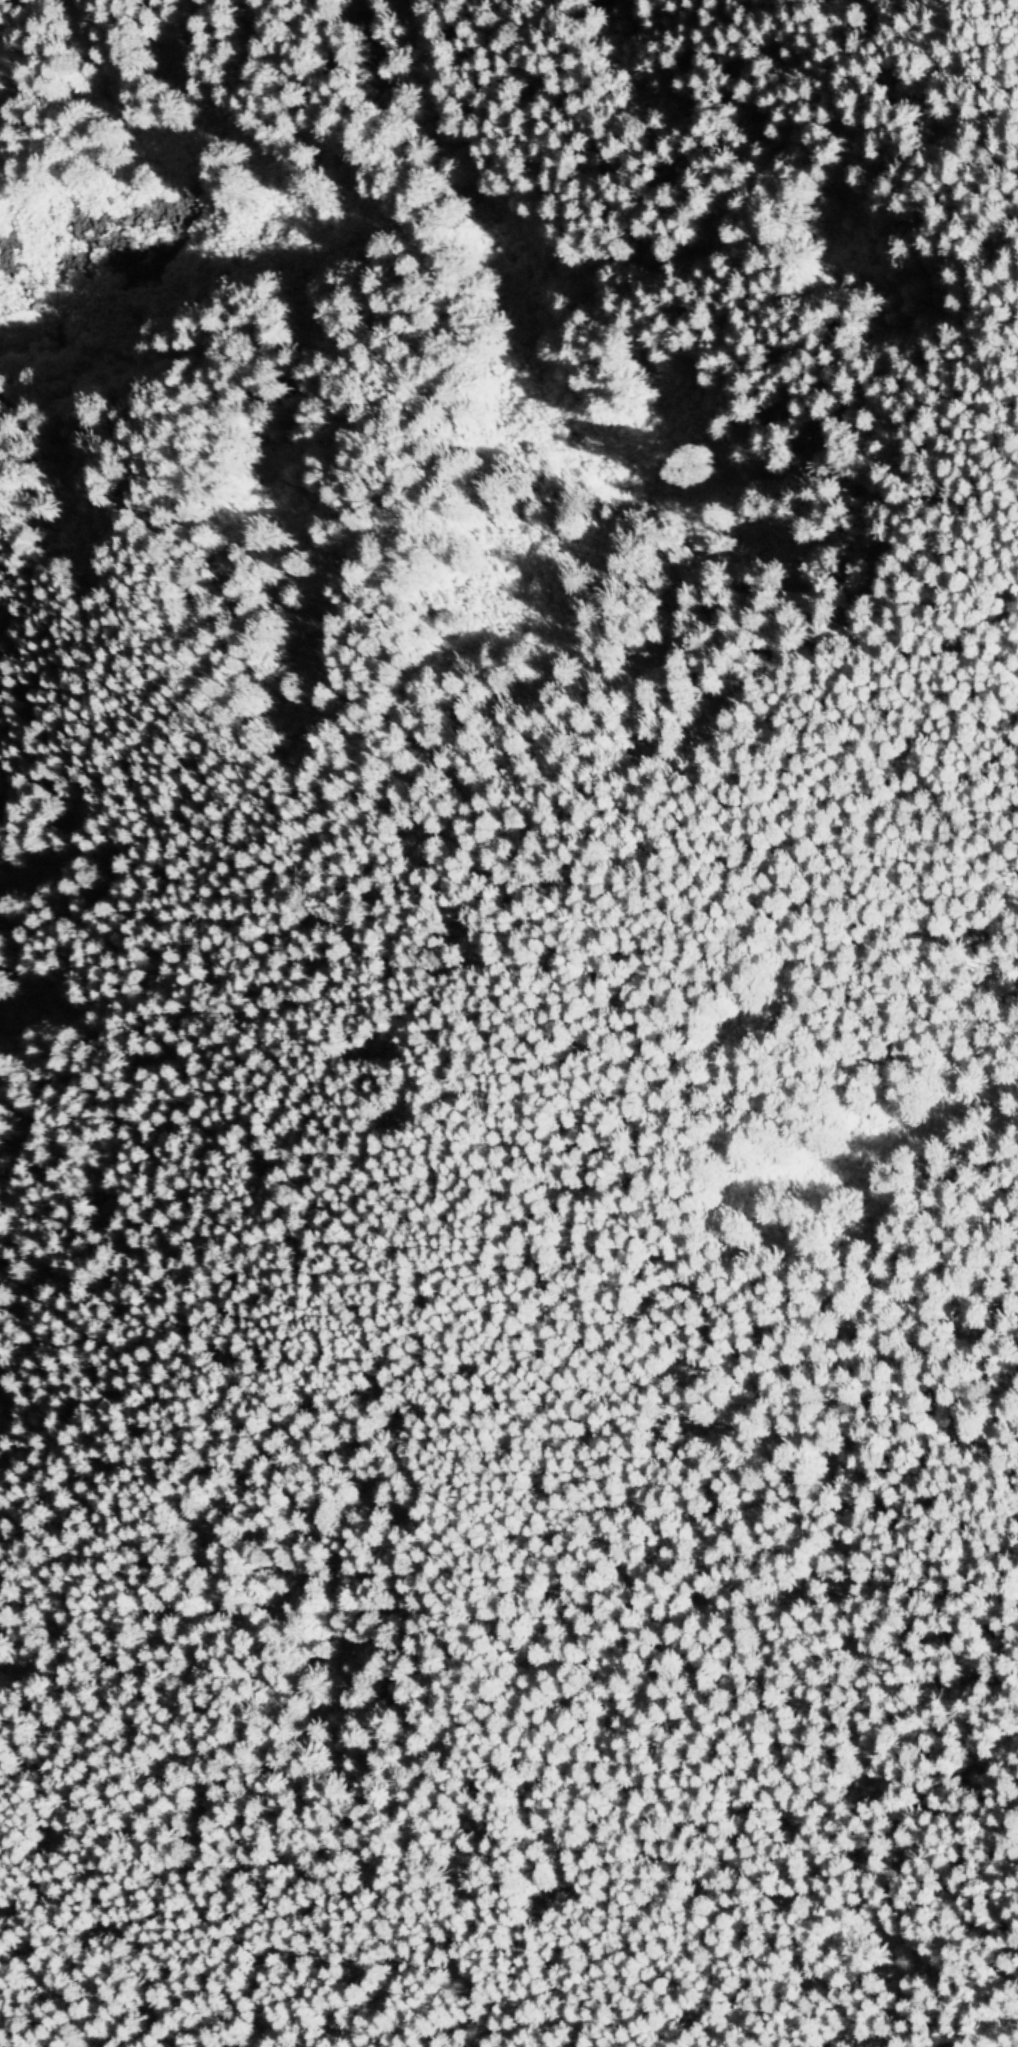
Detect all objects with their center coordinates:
road: (998, 1918)

